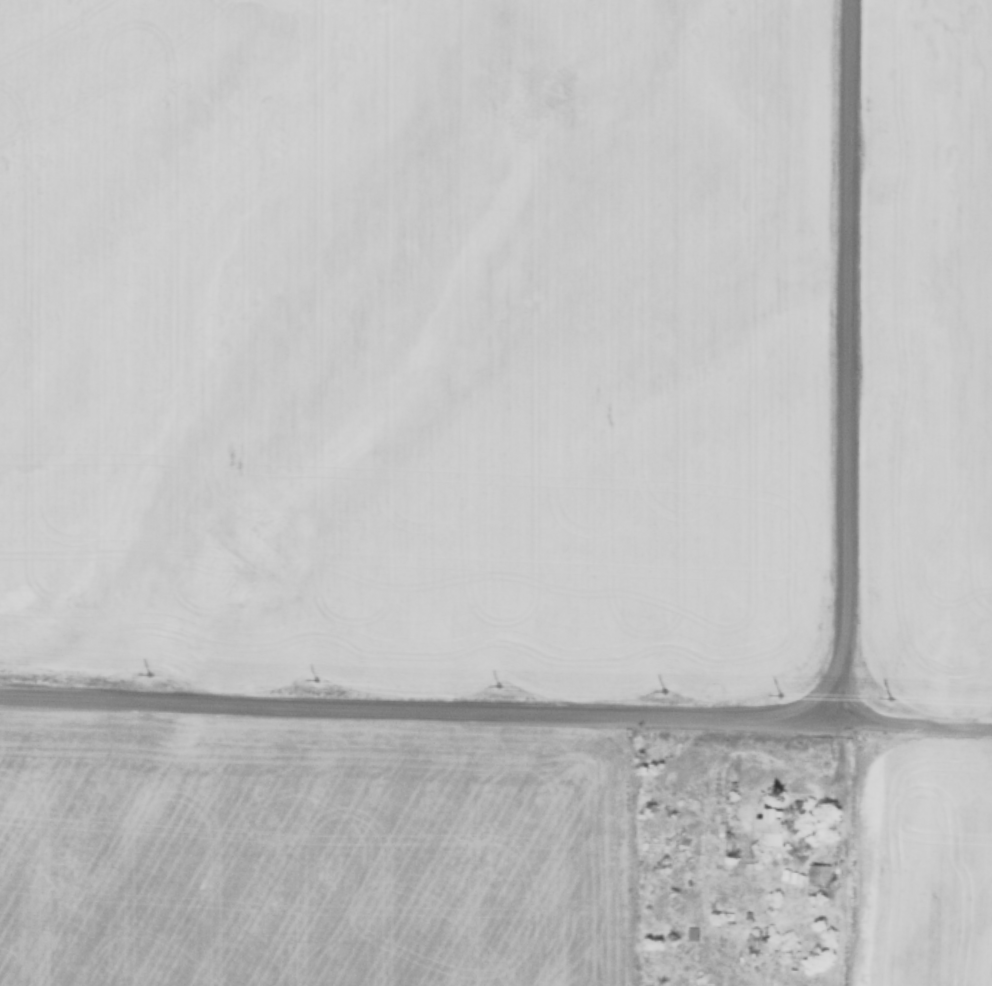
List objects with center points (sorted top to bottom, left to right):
road: (838, 353)
road: (417, 699)
road: (914, 710)

